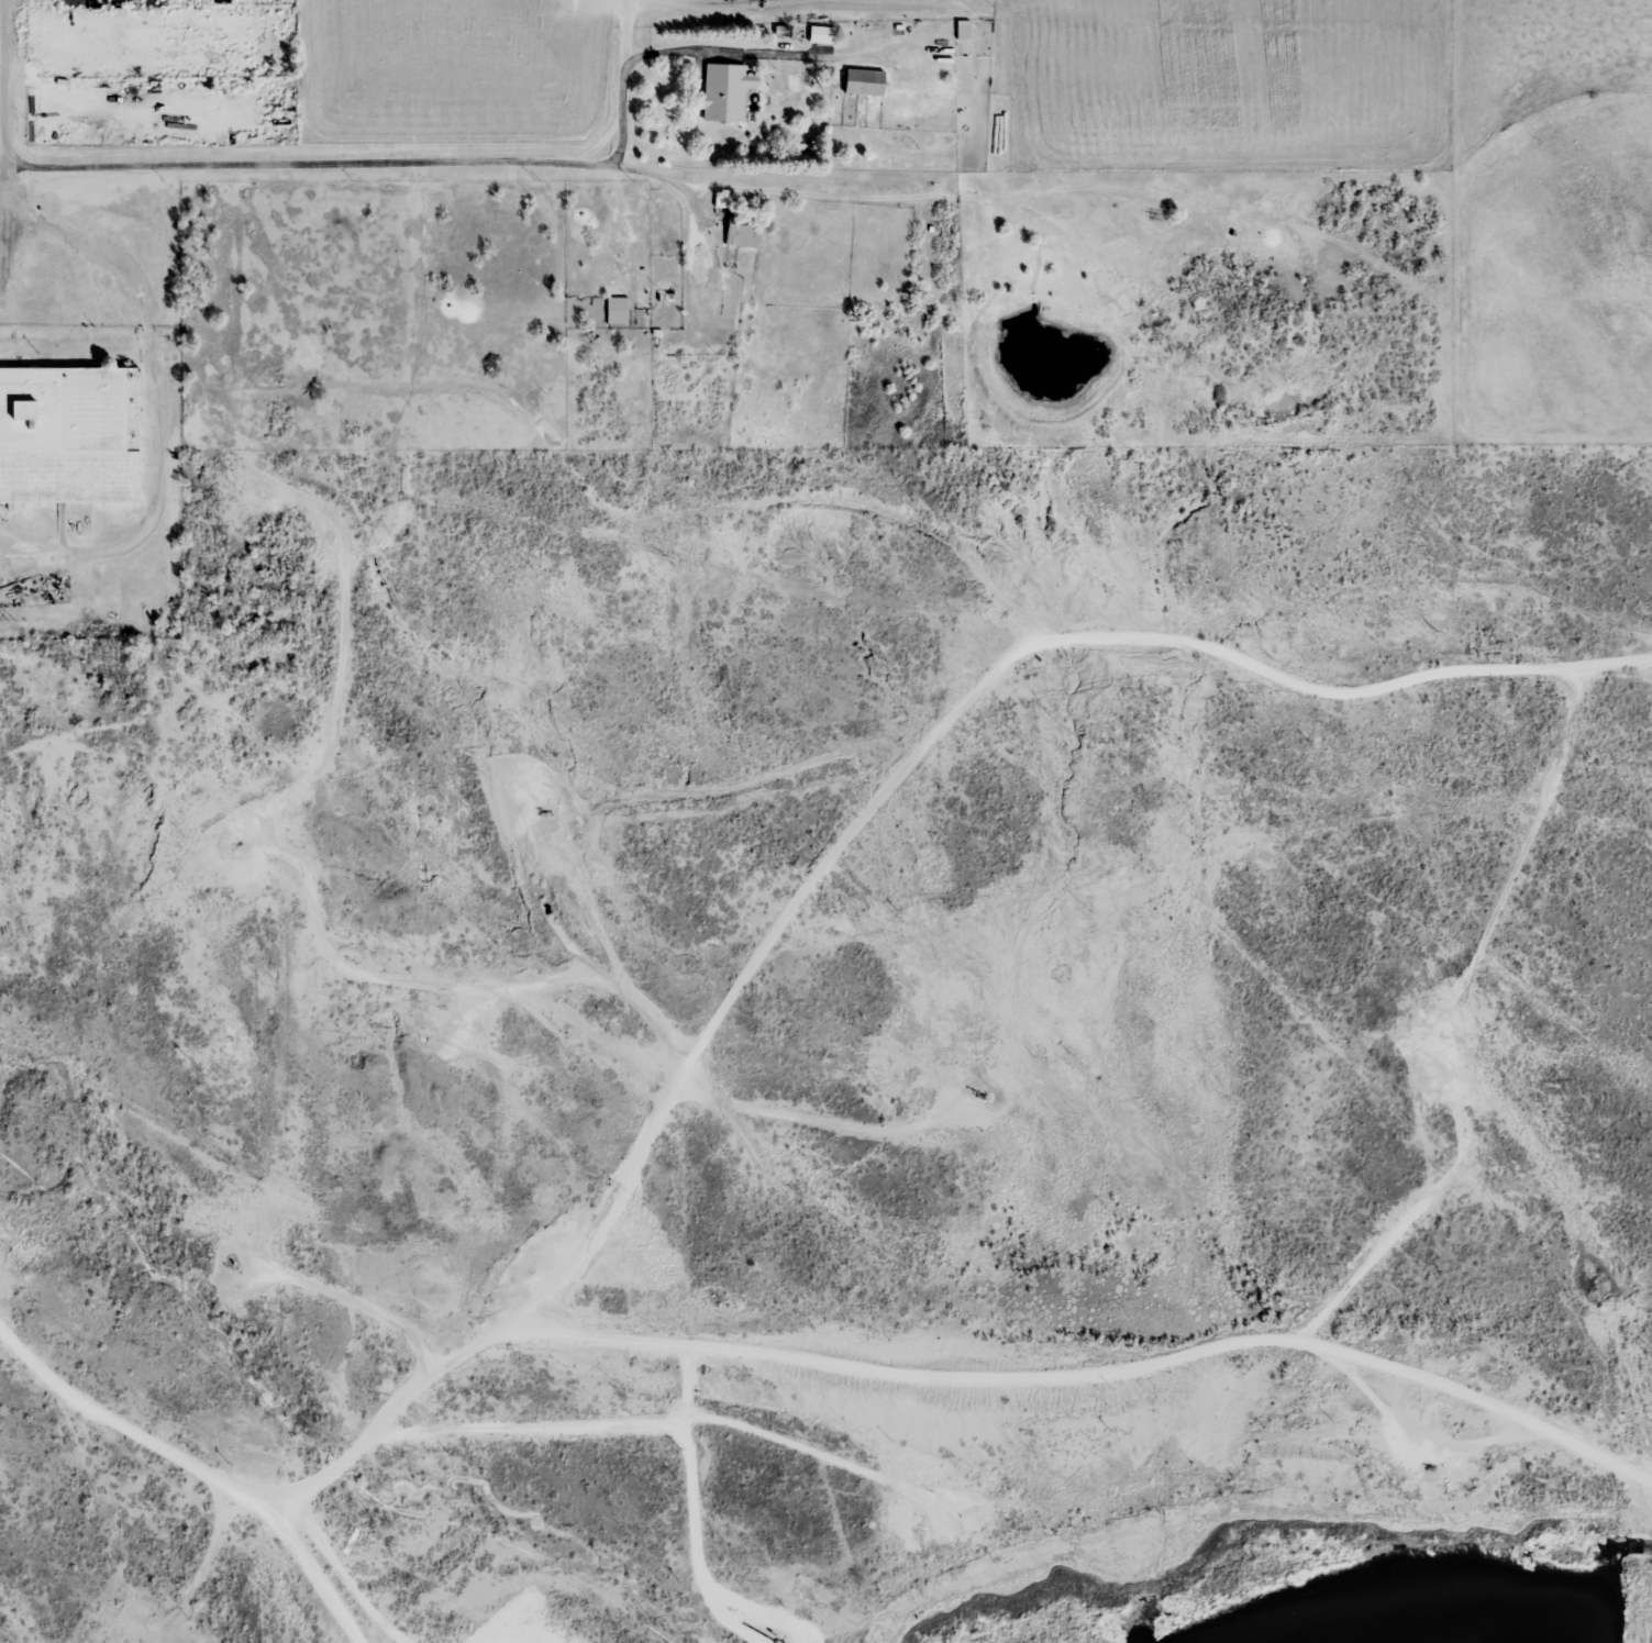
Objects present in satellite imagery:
road: (4, 13)
building: (816, 38)
road: (670, 55)
road: (10, 82)
building: (860, 87)
building: (721, 91)
road: (307, 167)
road: (5, 181)
road: (675, 191)
building: (742, 230)
building: (617, 303)
building: (66, 438)
road: (752, 962)
road: (1446, 1022)
building: (555, 1236)
road: (1087, 1372)
road: (307, 1568)

